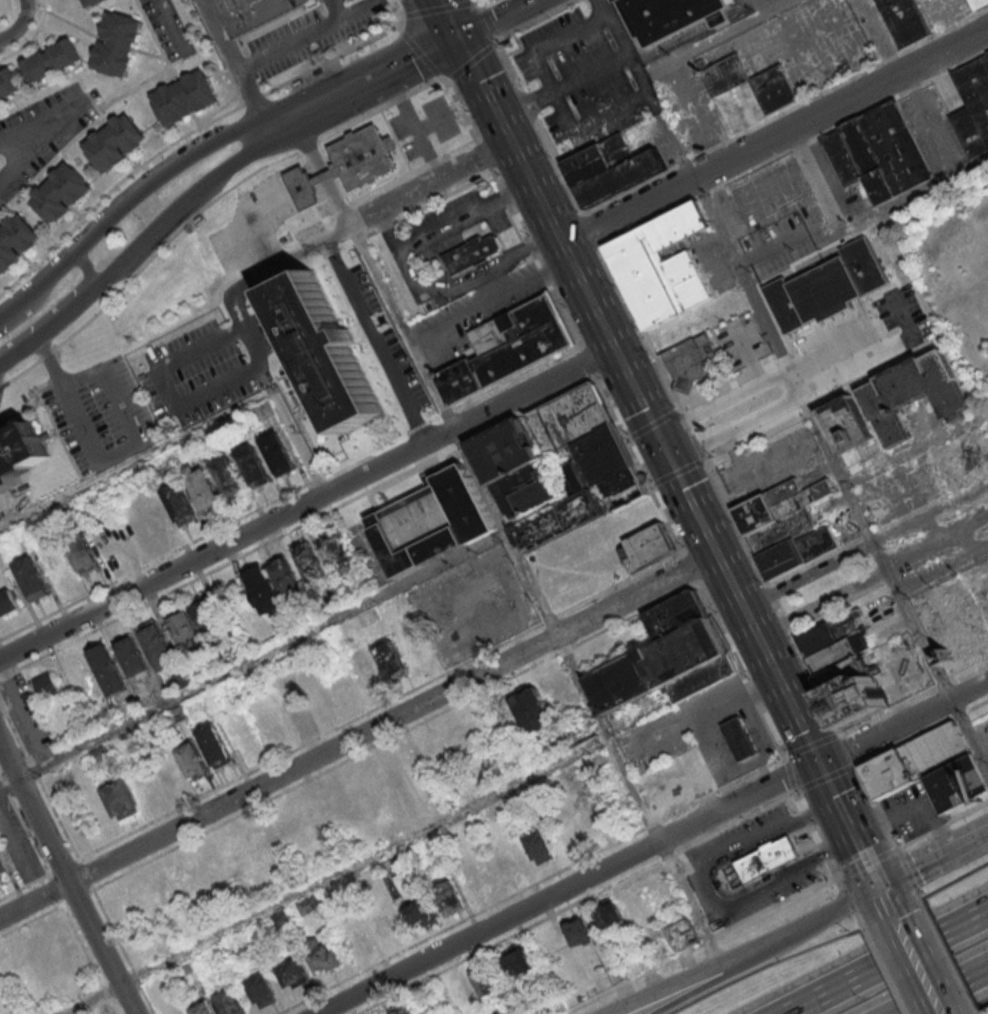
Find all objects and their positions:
building: (91, 3)
road: (476, 3)
building: (978, 3)
road: (481, 6)
road: (334, 9)
road: (439, 10)
building: (256, 12)
road: (397, 13)
building: (669, 16)
road: (451, 17)
road: (495, 17)
road: (403, 19)
building: (904, 20)
road: (18, 25)
road: (490, 25)
road: (168, 27)
road: (314, 29)
road: (401, 30)
parking lot: (315, 34)
road: (223, 35)
traffic signals: (460, 35)
road: (717, 39)
building: (119, 40)
road: (422, 54)
building: (51, 61)
road: (510, 65)
road: (393, 68)
chimney: (702, 72)
building: (723, 73)
parking lot: (577, 79)
building: (9, 85)
road: (565, 85)
road: (486, 88)
building: (773, 88)
road: (553, 90)
road: (647, 90)
road: (250, 92)
building: (185, 94)
road: (525, 98)
road: (460, 105)
building: (972, 105)
road: (530, 107)
road: (297, 114)
road: (534, 116)
road: (15, 132)
road: (776, 139)
building: (115, 140)
road: (184, 140)
road: (23, 152)
road: (483, 152)
building: (877, 153)
building: (362, 156)
road: (227, 168)
building: (611, 169)
road: (498, 178)
road: (814, 178)
road: (430, 183)
building: (304, 185)
parking lot: (843, 186)
building: (63, 190)
parking lot: (774, 197)
road: (508, 199)
road: (906, 199)
road: (123, 206)
building: (16, 240)
parking lot: (777, 245)
road: (564, 246)
road: (769, 248)
building: (473, 252)
building: (660, 265)
road: (254, 267)
road: (87, 269)
road: (549, 280)
building: (826, 286)
road: (97, 291)
road: (947, 303)
parking lot: (902, 314)
road: (904, 320)
road: (366, 322)
parking lot: (739, 341)
road: (897, 342)
building: (510, 347)
building: (326, 351)
building: (691, 359)
road: (173, 362)
road: (590, 364)
road: (754, 372)
road: (731, 383)
building: (912, 392)
road: (723, 401)
road: (643, 405)
chimney: (896, 410)
parking lot: (100, 414)
building: (570, 417)
building: (844, 423)
road: (735, 426)
road: (690, 430)
road: (187, 432)
road: (755, 432)
road: (910, 450)
building: (504, 451)
building: (19, 453)
building: (278, 453)
road: (734, 453)
road: (115, 454)
traffic signals: (671, 459)
parking lot: (772, 462)
building: (949, 464)
building: (253, 465)
road: (642, 468)
building: (228, 475)
road: (843, 478)
building: (577, 485)
building: (204, 488)
building: (524, 489)
building: (619, 489)
building: (179, 503)
road: (307, 503)
building: (779, 503)
road: (931, 513)
building: (434, 523)
road: (298, 525)
road: (877, 529)
building: (781, 530)
road: (508, 540)
road: (937, 543)
building: (646, 546)
building: (335, 549)
building: (794, 553)
building: (82, 554)
road: (982, 569)
building: (298, 570)
road: (693, 572)
road: (809, 573)
road: (943, 573)
building: (32, 578)
parking lot: (978, 587)
building: (263, 590)
road: (822, 600)
building: (8, 601)
road: (840, 601)
parking lot: (471, 606)
road: (746, 610)
building: (197, 625)
building: (949, 626)
building: (831, 632)
road: (724, 633)
building: (411, 641)
building: (158, 645)
building: (839, 653)
building: (132, 655)
building: (668, 656)
building: (389, 657)
road: (251, 660)
building: (363, 664)
building: (108, 669)
building: (842, 672)
building: (48, 686)
building: (859, 693)
road: (755, 696)
road: (912, 697)
road: (373, 708)
building: (532, 709)
road: (904, 722)
parking lot: (983, 730)
road: (920, 732)
road: (774, 735)
road: (360, 737)
building: (739, 738)
road: (811, 744)
building: (214, 745)
road: (848, 749)
building: (192, 758)
traffic signals: (820, 763)
building: (931, 772)
road: (790, 773)
road: (825, 777)
road: (834, 794)
road: (800, 797)
building: (121, 798)
road: (809, 815)
road: (942, 824)
road: (887, 829)
road: (817, 833)
road: (854, 833)
building: (540, 847)
road: (826, 851)
building: (767, 857)
road: (934, 859)
road: (869, 864)
building: (2, 871)
road: (68, 875)
road: (337, 876)
road: (531, 884)
road: (567, 887)
traffic signals: (881, 887)
road: (844, 890)
road: (712, 891)
building: (448, 898)
road: (576, 900)
road: (887, 900)
building: (420, 913)
building: (610, 915)
road: (799, 928)
building: (578, 931)
building: (682, 933)
road: (705, 946)
building: (323, 954)
road: (948, 954)
building: (519, 960)
road: (884, 961)
road: (918, 964)
road: (883, 968)
building: (293, 973)
building: (486, 981)
building: (262, 989)
road: (666, 990)
road: (941, 990)
road: (686, 993)
building: (230, 1002)
building: (201, 1008)
road: (977, 1011)
building: (384, 1013)

